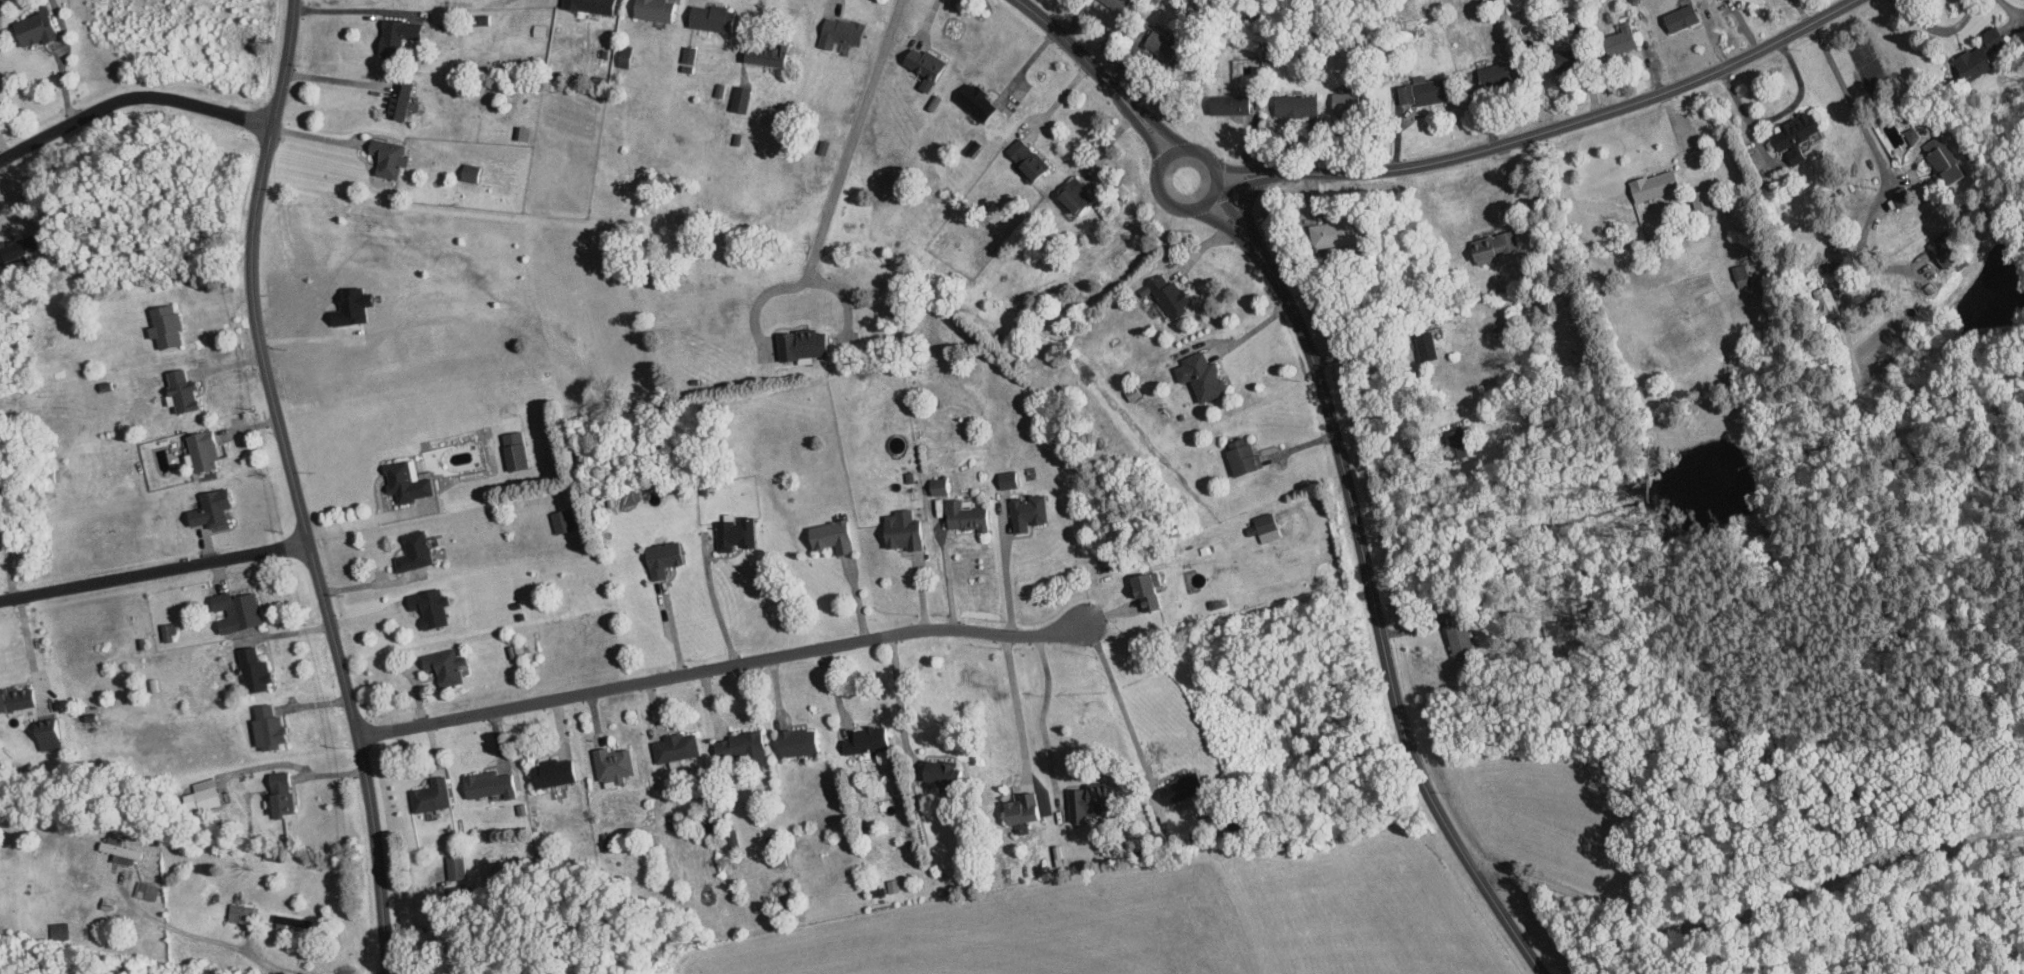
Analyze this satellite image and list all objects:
road: (702, 1)
road: (759, 4)
building: (1116, 4)
building: (587, 5)
road: (833, 5)
road: (350, 9)
building: (652, 9)
building: (708, 17)
building: (1678, 17)
building: (478, 18)
building: (32, 27)
road: (1940, 28)
building: (839, 32)
building: (393, 33)
building: (1618, 39)
building: (1156, 42)
building: (763, 54)
building: (1977, 54)
building: (624, 55)
road: (1077, 55)
building: (686, 58)
building: (1557, 61)
building: (922, 65)
building: (1491, 74)
road: (335, 79)
building: (1420, 91)
road: (132, 94)
building: (739, 98)
building: (397, 100)
building: (1341, 100)
building: (973, 101)
building: (933, 102)
road: (1056, 102)
building: (1226, 104)
building: (1293, 104)
road: (1780, 113)
road: (1567, 119)
road: (1163, 128)
building: (1911, 134)
building: (1792, 135)
road: (1149, 139)
road: (3, 141)
road: (1876, 149)
road: (1201, 153)
building: (385, 156)
building: (1024, 157)
building: (1943, 158)
road: (1237, 168)
building: (469, 172)
road: (1244, 183)
building: (1652, 184)
road: (1218, 187)
road: (1216, 191)
road: (832, 194)
building: (1071, 194)
building: (1699, 200)
road: (1244, 207)
road: (1233, 212)
road: (1218, 222)
building: (1327, 234)
building: (1492, 245)
building: (10, 249)
building: (1943, 257)
building: (1739, 274)
building: (1168, 294)
road: (844, 299)
building: (1827, 300)
building: (162, 325)
road: (1240, 337)
road: (307, 340)
building: (797, 344)
building: (1424, 345)
road: (1364, 346)
building: (1198, 375)
building: (178, 390)
building: (1130, 392)
road: (1390, 443)
building: (1455, 443)
building: (199, 449)
building: (512, 450)
building: (1240, 456)
building: (1006, 478)
building: (403, 480)
building: (937, 485)
road: (295, 487)
building: (208, 508)
building: (1025, 512)
building: (965, 516)
road: (365, 520)
building: (559, 520)
building: (1260, 523)
building: (900, 530)
building: (732, 533)
building: (829, 535)
road: (6, 548)
building: (411, 551)
building: (662, 557)
road: (154, 572)
road: (948, 578)
road: (1008, 581)
road: (368, 583)
building: (1144, 588)
road: (714, 603)
building: (426, 606)
building: (234, 610)
road: (1376, 612)
road: (671, 626)
building: (166, 631)
road: (282, 632)
building: (1460, 638)
road: (31, 650)
building: (441, 665)
road: (721, 665)
building: (250, 669)
road: (896, 691)
road: (837, 692)
building: (16, 697)
road: (1016, 704)
road: (1123, 712)
road: (1042, 716)
building: (266, 727)
building: (45, 733)
building: (865, 738)
building: (795, 741)
building: (673, 746)
building: (739, 747)
building: (610, 765)
building: (552, 771)
building: (936, 771)
building: (487, 784)
building: (278, 793)
building: (1175, 793)
building: (199, 795)
building: (428, 795)
building: (1083, 801)
building: (1019, 808)
building: (731, 839)
building: (119, 852)
building: (454, 866)
building: (892, 885)
building: (146, 890)
road: (143, 912)
building: (239, 912)
road: (1754, 912)
building: (58, 930)
road: (238, 947)

